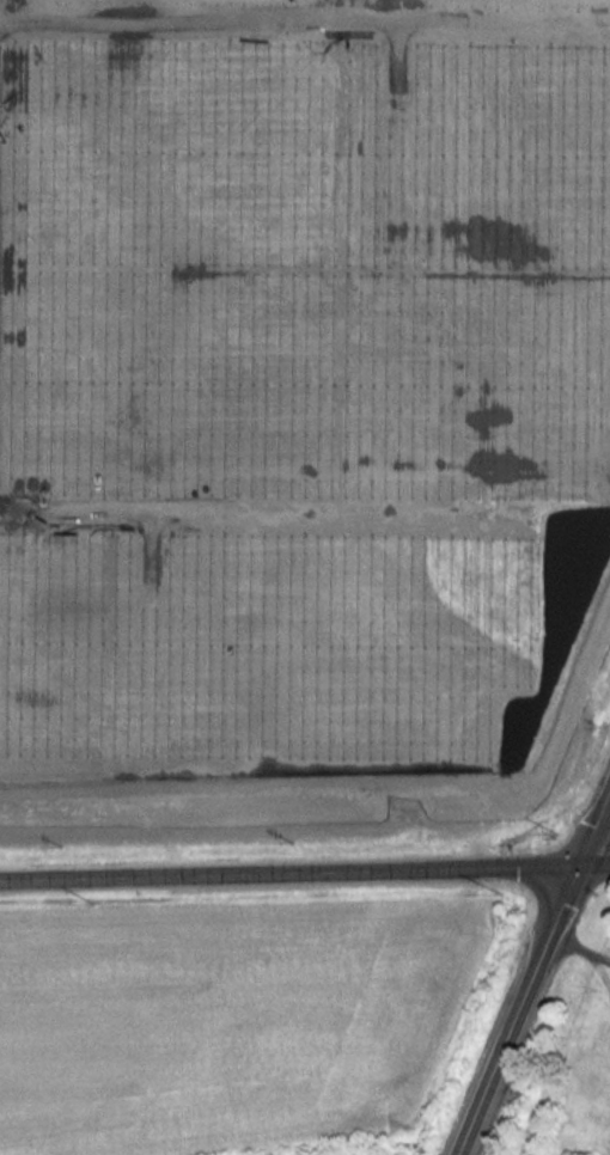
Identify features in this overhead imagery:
traffic signals: (579, 864)
road: (305, 869)
road: (533, 972)

